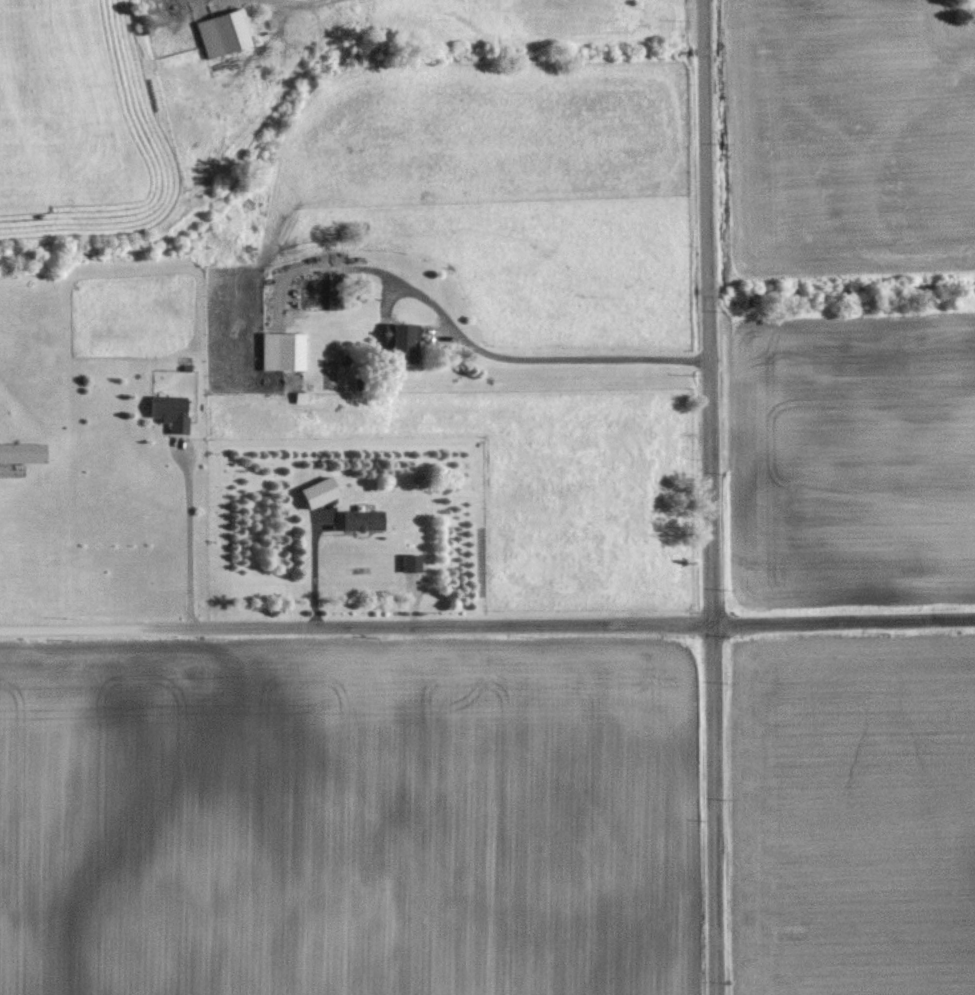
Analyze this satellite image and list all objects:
building: (222, 33)
building: (334, 291)
road: (540, 347)
building: (281, 351)
building: (397, 351)
building: (170, 412)
building: (22, 452)
road: (711, 497)
building: (363, 520)
road: (192, 546)
building: (410, 562)
road: (487, 625)

